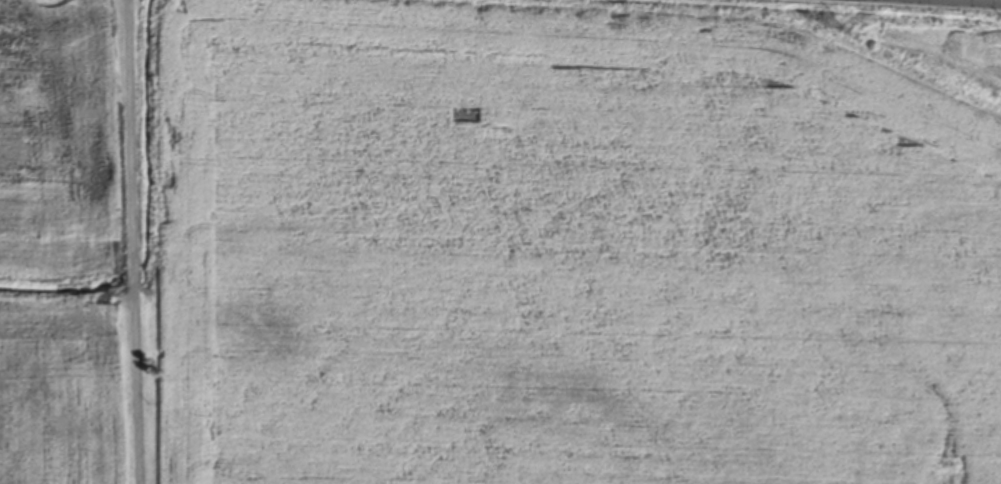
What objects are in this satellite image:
road: (978, 1)
road: (133, 241)

